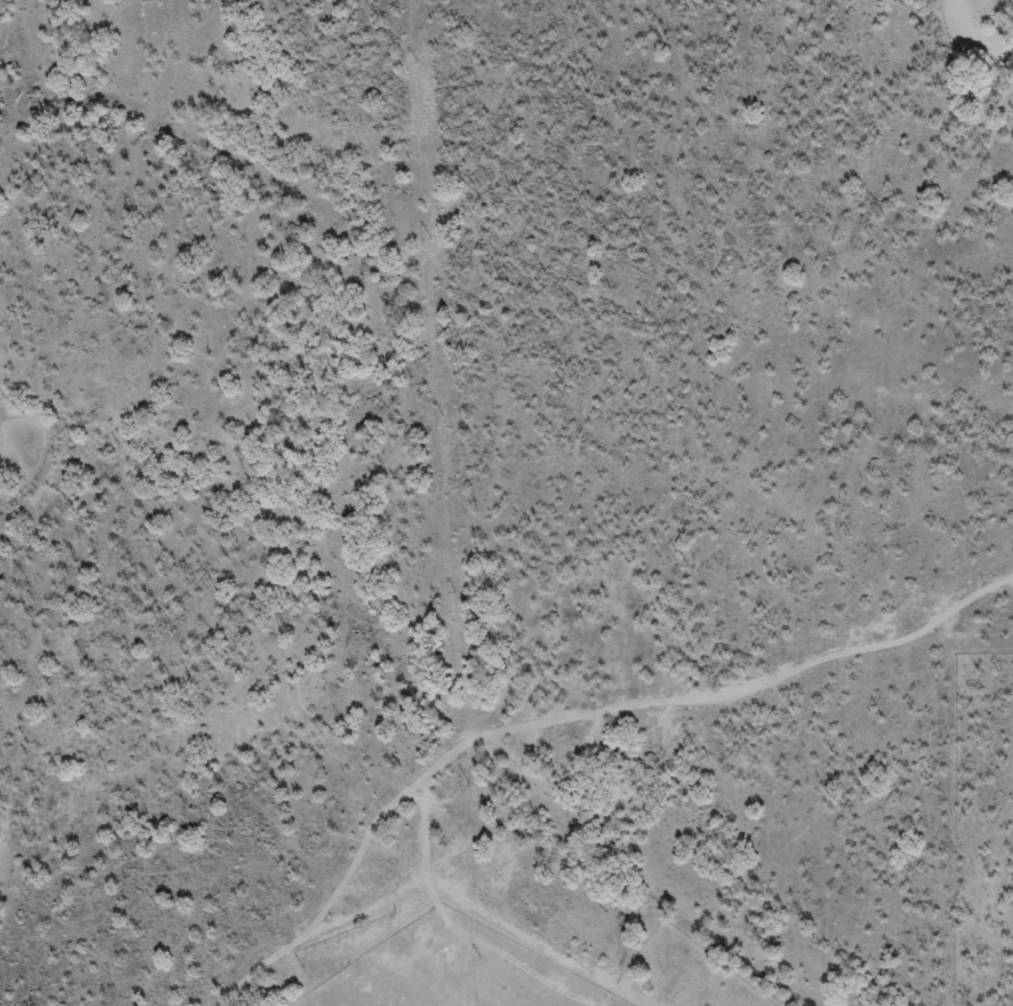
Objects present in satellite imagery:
road: (400, 932)

